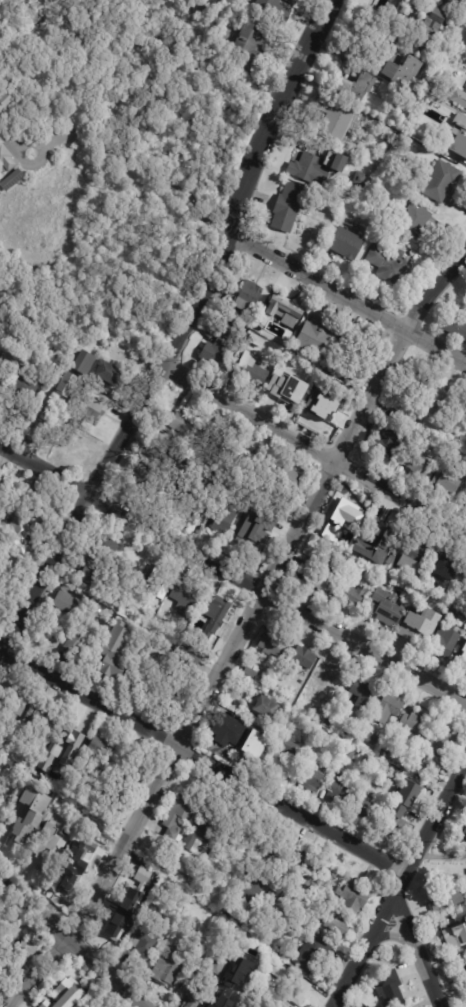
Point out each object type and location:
building: (465, 0)
building: (455, 1)
building: (292, 2)
building: (274, 10)
building: (431, 30)
building: (465, 41)
building: (254, 48)
building: (403, 72)
building: (356, 88)
building: (459, 97)
building: (9, 101)
road: (277, 116)
building: (336, 118)
building: (459, 123)
building: (388, 137)
building: (458, 146)
building: (6, 161)
building: (387, 164)
building: (318, 167)
building: (13, 182)
building: (442, 182)
building: (288, 207)
building: (415, 220)
building: (348, 243)
building: (390, 264)
building: (246, 297)
road: (352, 299)
building: (284, 309)
building: (263, 326)
building: (457, 327)
building: (318, 337)
building: (258, 341)
building: (222, 345)
building: (85, 363)
building: (352, 366)
building: (250, 370)
building: (110, 374)
building: (1, 376)
building: (69, 385)
building: (424, 387)
building: (24, 391)
building: (285, 391)
building: (447, 404)
building: (342, 405)
building: (81, 408)
building: (323, 410)
building: (428, 422)
building: (184, 424)
building: (41, 434)
road: (120, 444)
building: (389, 444)
road: (317, 447)
building: (244, 459)
building: (420, 461)
road: (43, 471)
building: (398, 472)
building: (449, 479)
building: (142, 480)
building: (289, 481)
building: (10, 489)
building: (39, 501)
building: (254, 511)
building: (221, 516)
building: (341, 519)
building: (374, 527)
building: (20, 536)
building: (340, 536)
building: (253, 540)
building: (106, 546)
building: (419, 551)
building: (382, 552)
building: (350, 564)
building: (391, 565)
building: (411, 566)
building: (450, 570)
building: (314, 575)
building: (87, 576)
building: (162, 579)
building: (387, 581)
building: (423, 587)
building: (352, 596)
road: (275, 599)
building: (3, 600)
building: (64, 603)
building: (459, 606)
building: (370, 607)
building: (388, 610)
building: (213, 620)
building: (421, 625)
building: (127, 627)
road: (245, 630)
building: (446, 639)
building: (273, 643)
building: (76, 645)
building: (462, 655)
building: (305, 659)
building: (187, 665)
building: (464, 665)
building: (114, 667)
building: (151, 669)
building: (465, 670)
building: (333, 673)
building: (249, 676)
building: (275, 691)
building: (362, 694)
building: (17, 706)
building: (266, 708)
building: (387, 709)
building: (317, 717)
building: (328, 721)
building: (41, 722)
building: (415, 722)
building: (232, 731)
building: (361, 731)
building: (69, 740)
building: (254, 744)
building: (390, 745)
building: (61, 751)
building: (439, 751)
building: (100, 752)
building: (284, 756)
building: (7, 765)
building: (395, 778)
building: (313, 781)
road: (261, 791)
building: (342, 793)
building: (405, 801)
building: (4, 804)
building: (366, 811)
building: (30, 817)
building: (176, 820)
building: (465, 830)
building: (205, 833)
building: (243, 836)
building: (42, 851)
road: (441, 855)
building: (79, 862)
building: (307, 869)
building: (183, 879)
building: (255, 886)
road: (398, 887)
building: (169, 888)
building: (274, 894)
building: (353, 897)
building: (445, 898)
building: (282, 914)
building: (122, 915)
building: (196, 916)
building: (265, 918)
building: (337, 927)
building: (455, 936)
road: (68, 942)
building: (144, 944)
building: (23, 953)
building: (313, 955)
building: (277, 966)
building: (462, 966)
building: (219, 967)
building: (168, 968)
building: (373, 976)
building: (265, 981)
building: (240, 989)
building: (391, 989)
building: (193, 990)
building: (66, 991)
building: (297, 993)
building: (212, 1005)
building: (268, 1005)
building: (366, 1006)

